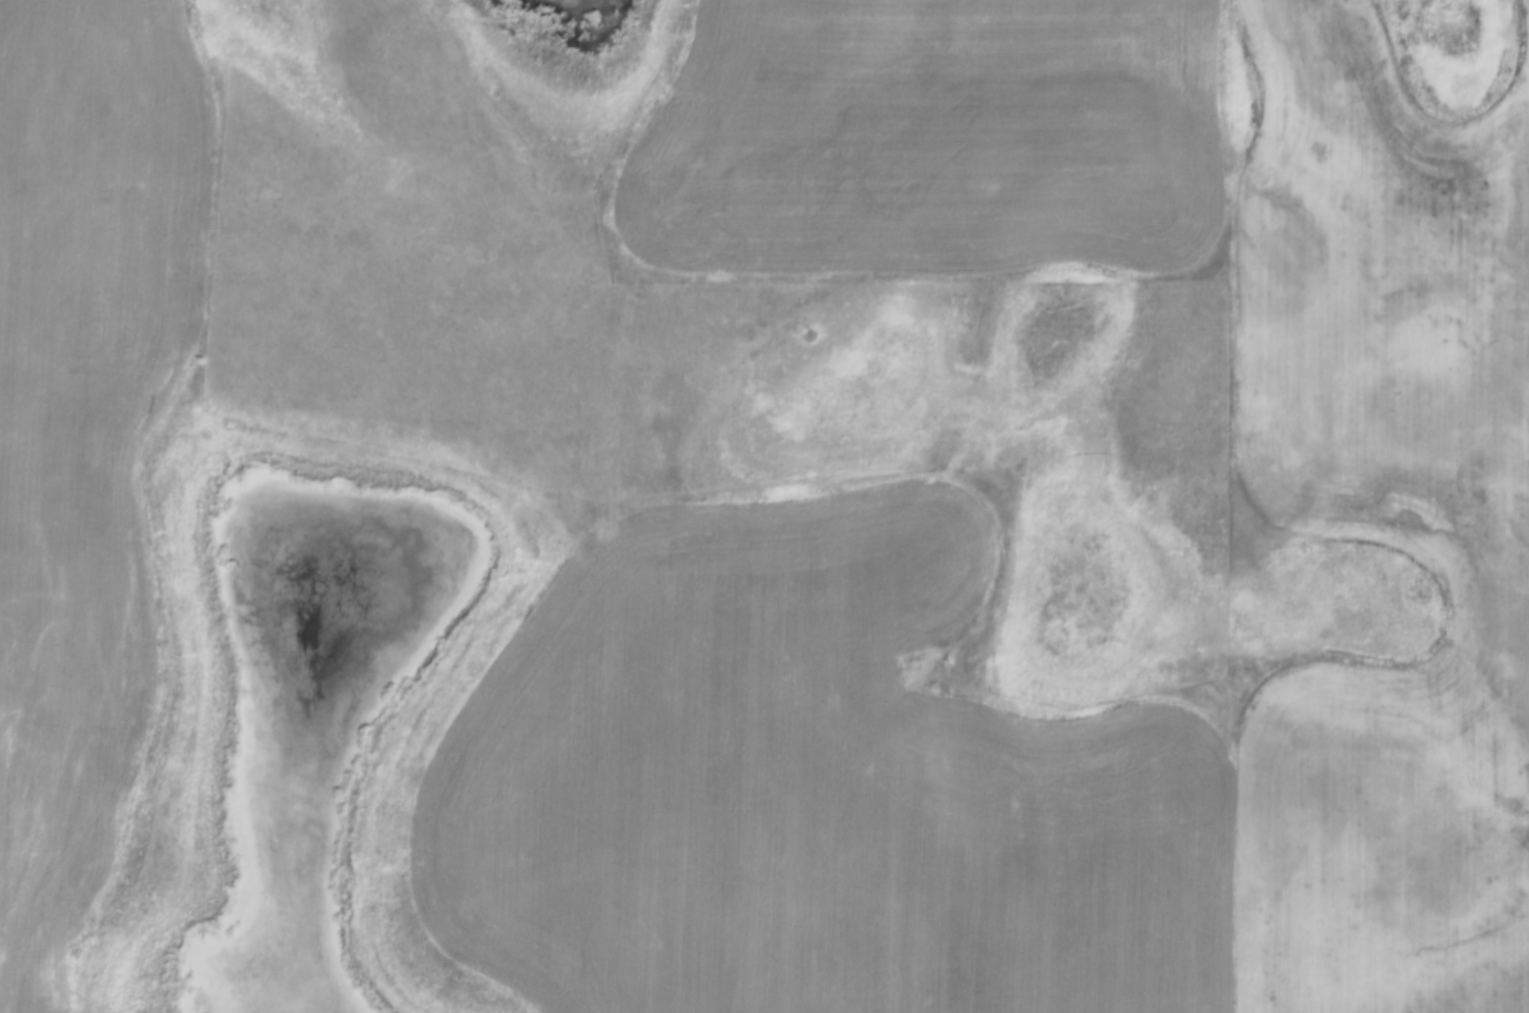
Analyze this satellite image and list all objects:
road: (569, 310)

